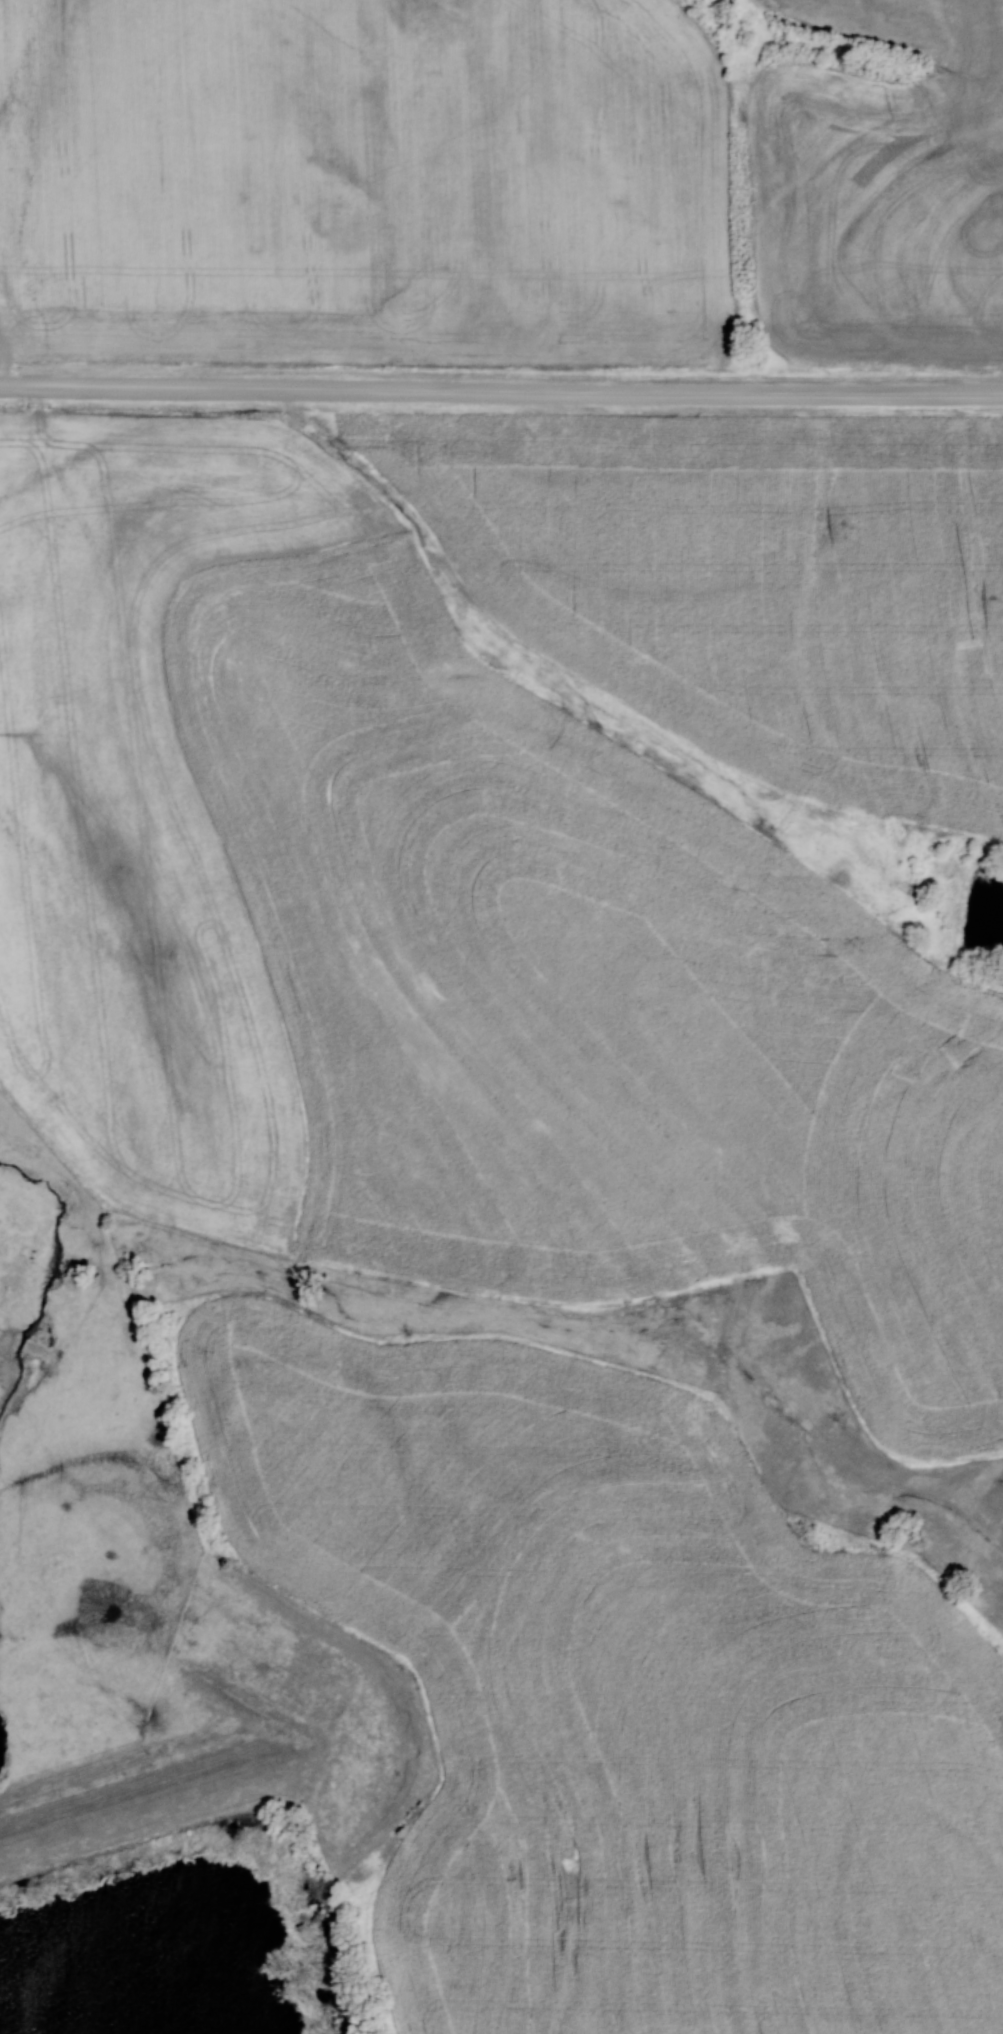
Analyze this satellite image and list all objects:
road: (501, 387)
dam: (199, 1782)

